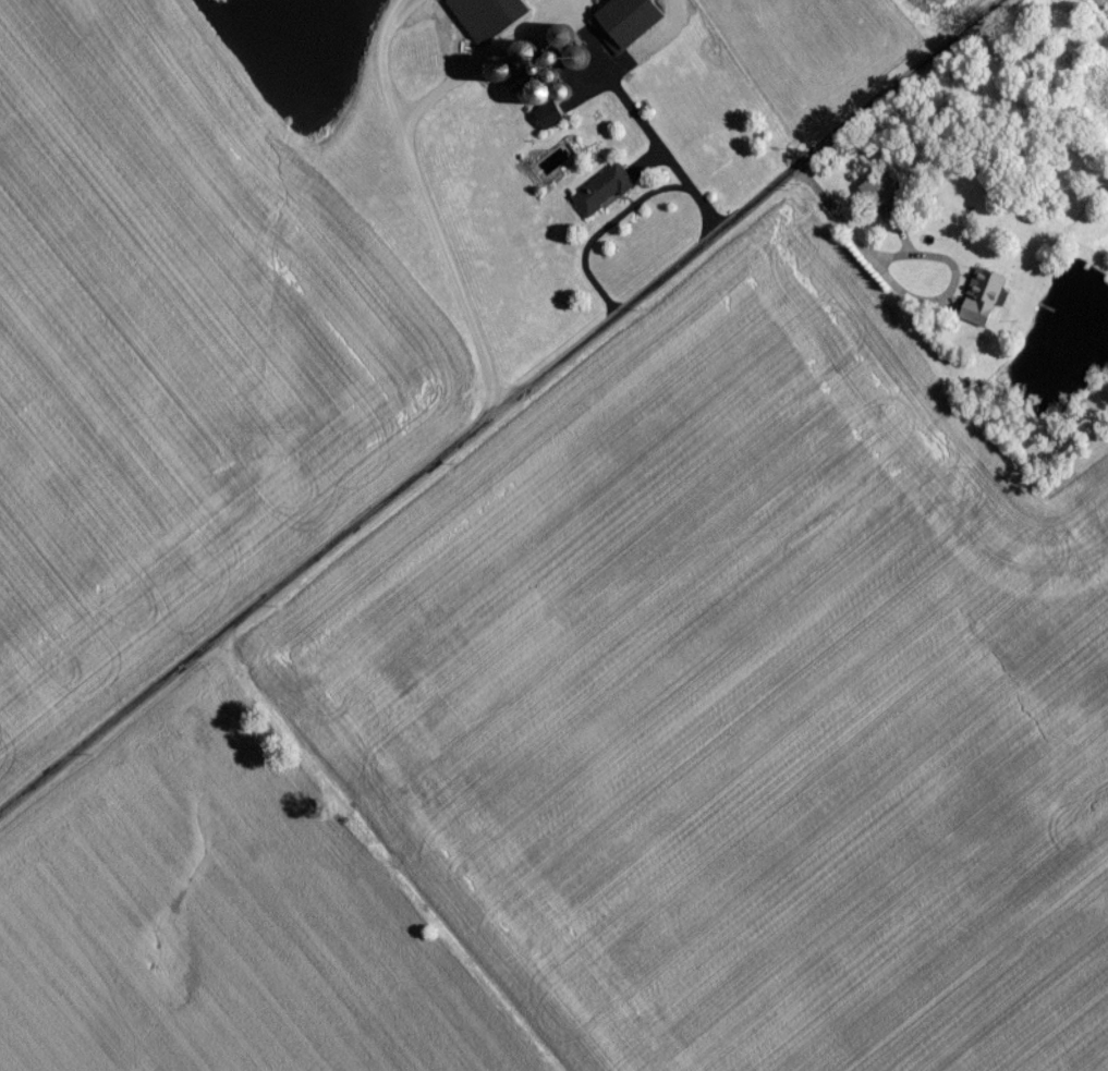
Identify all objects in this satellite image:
building: (637, 25)
road: (635, 118)
road: (425, 199)
road: (949, 217)
road: (606, 232)
building: (977, 305)
road: (503, 398)

